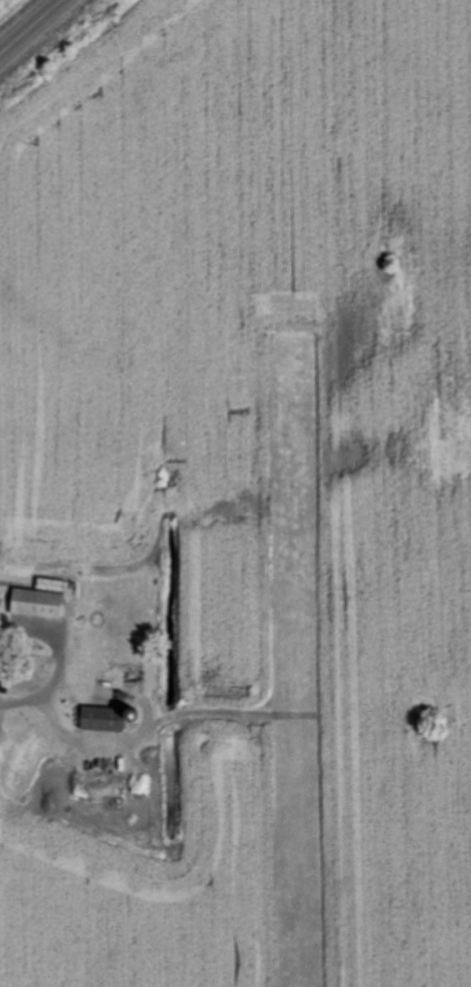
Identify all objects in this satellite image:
road: (32, 29)
building: (38, 602)
building: (0, 647)
airport runway: (292, 662)
road: (45, 698)
building: (103, 717)

